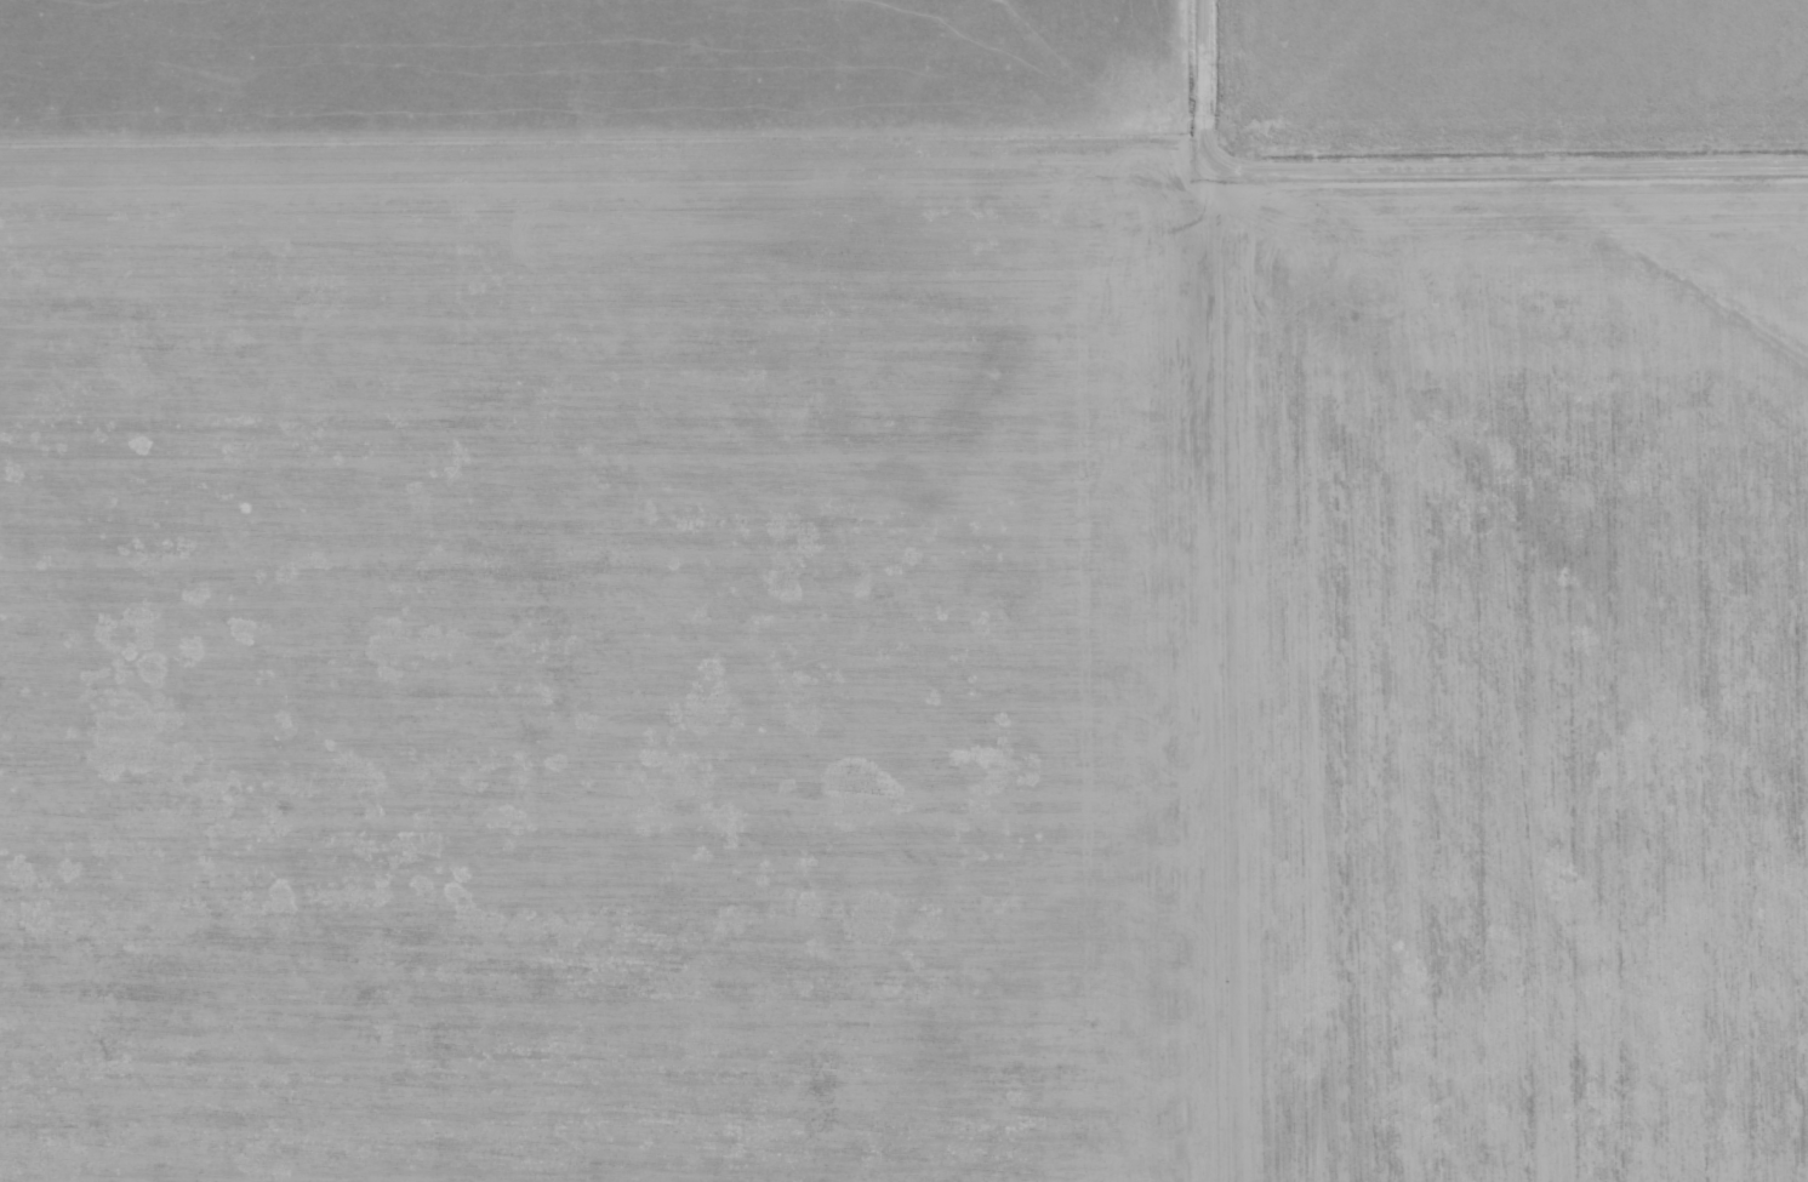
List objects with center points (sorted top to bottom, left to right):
road: (1433, 165)
road: (1226, 668)

